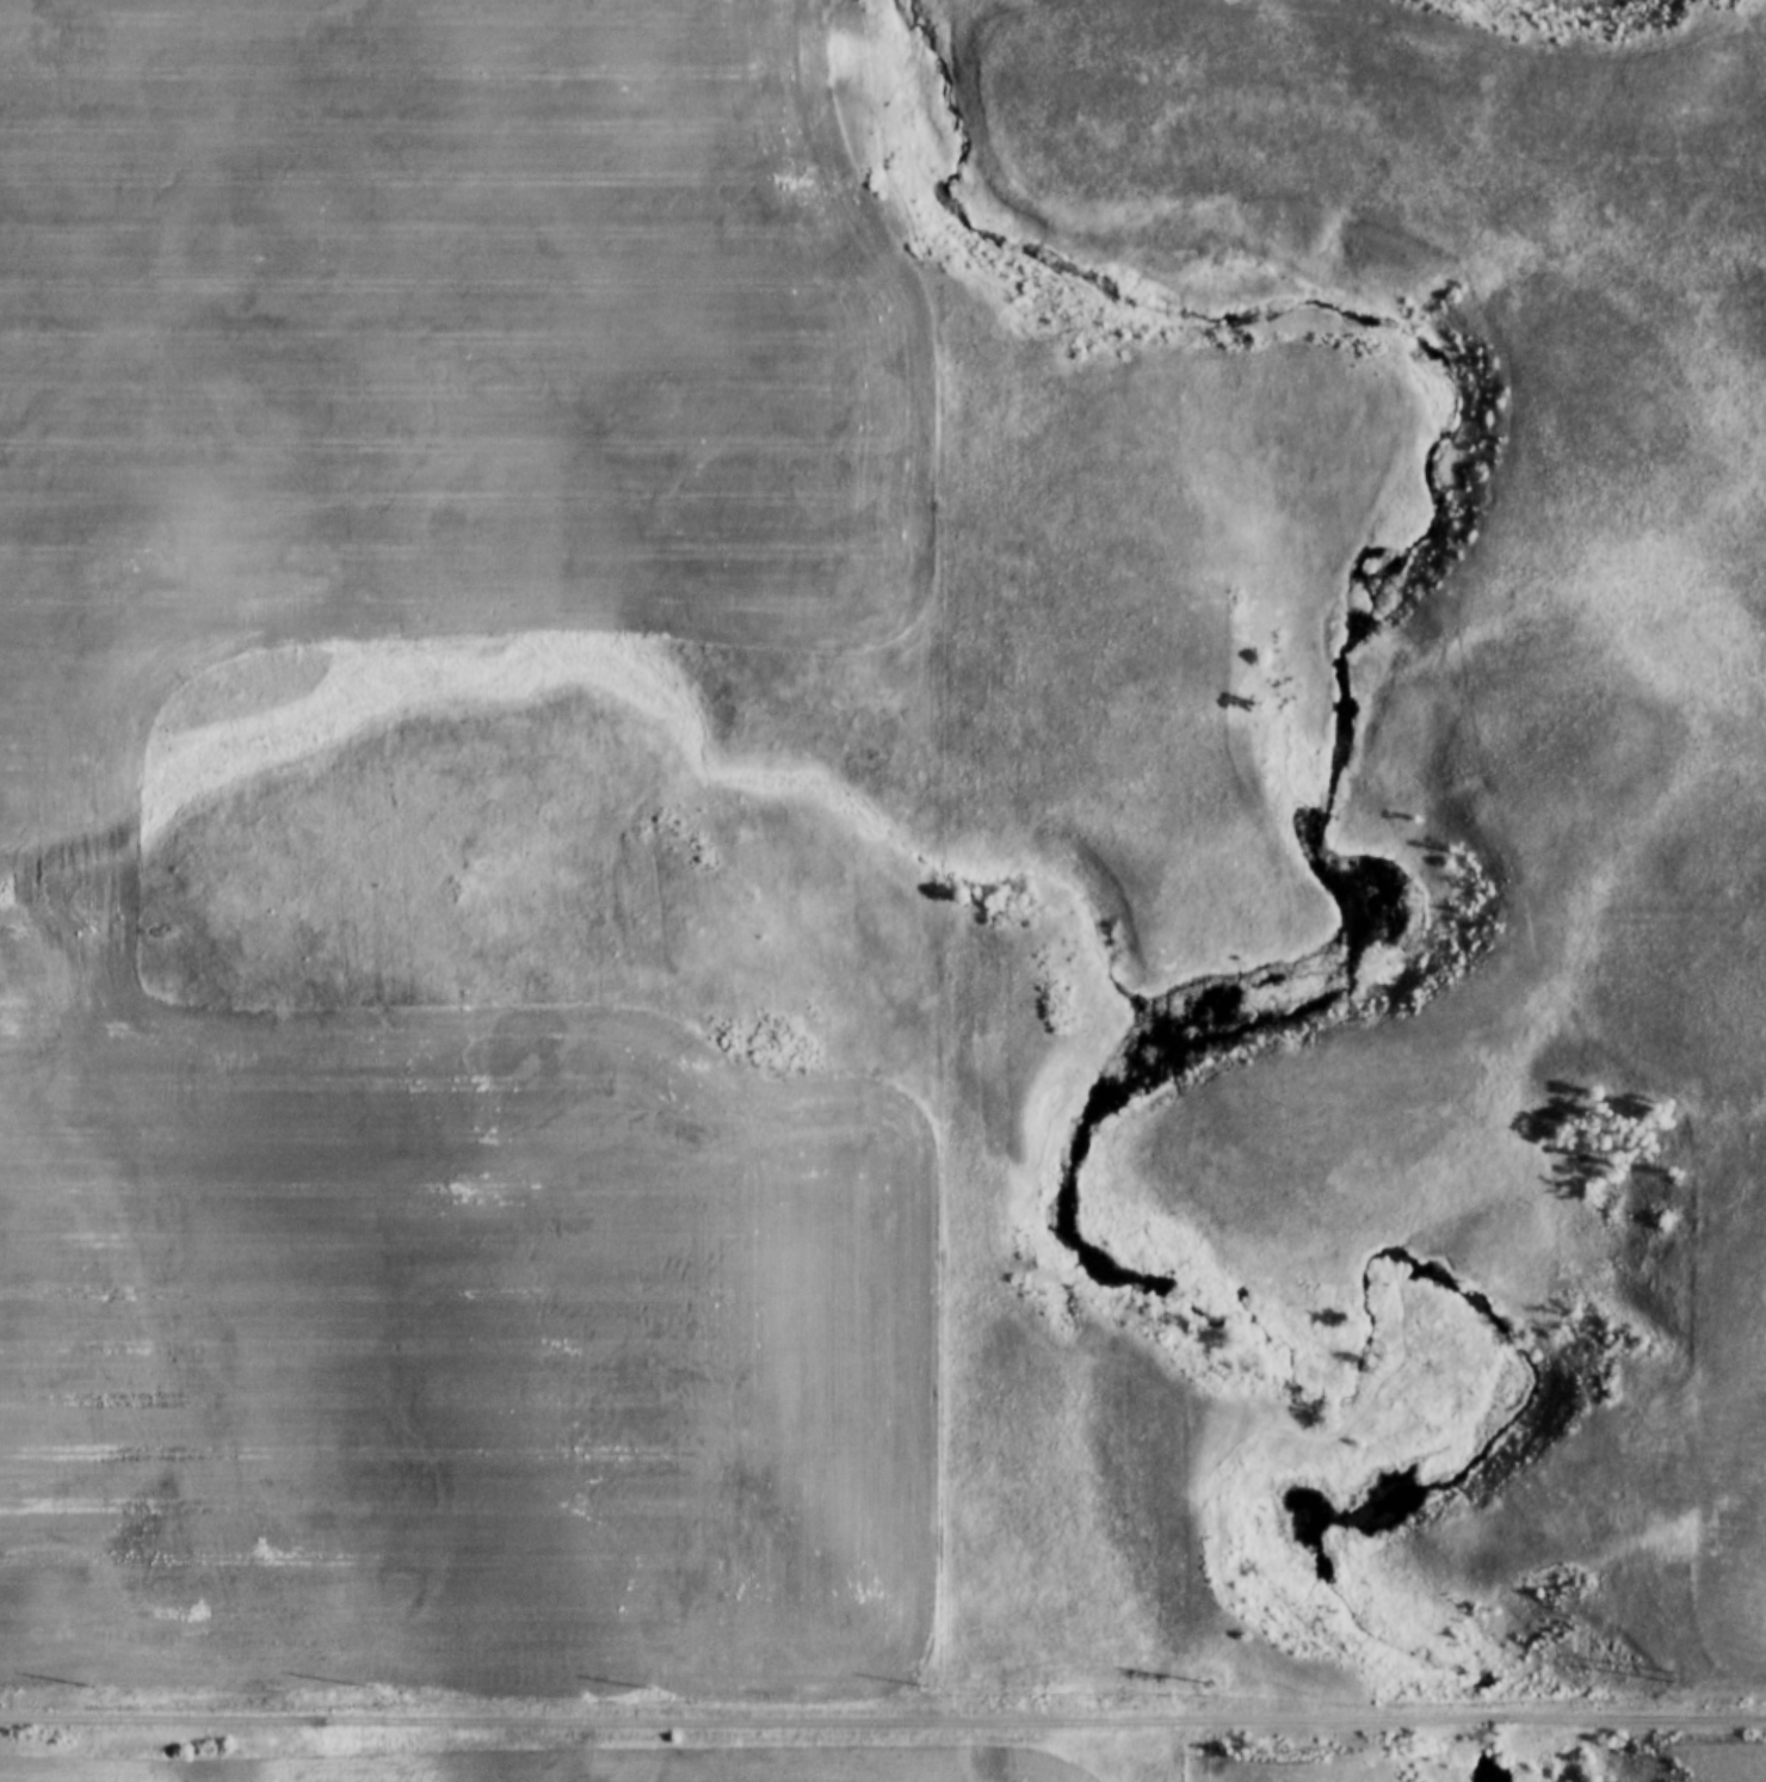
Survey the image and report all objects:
road: (883, 1719)

